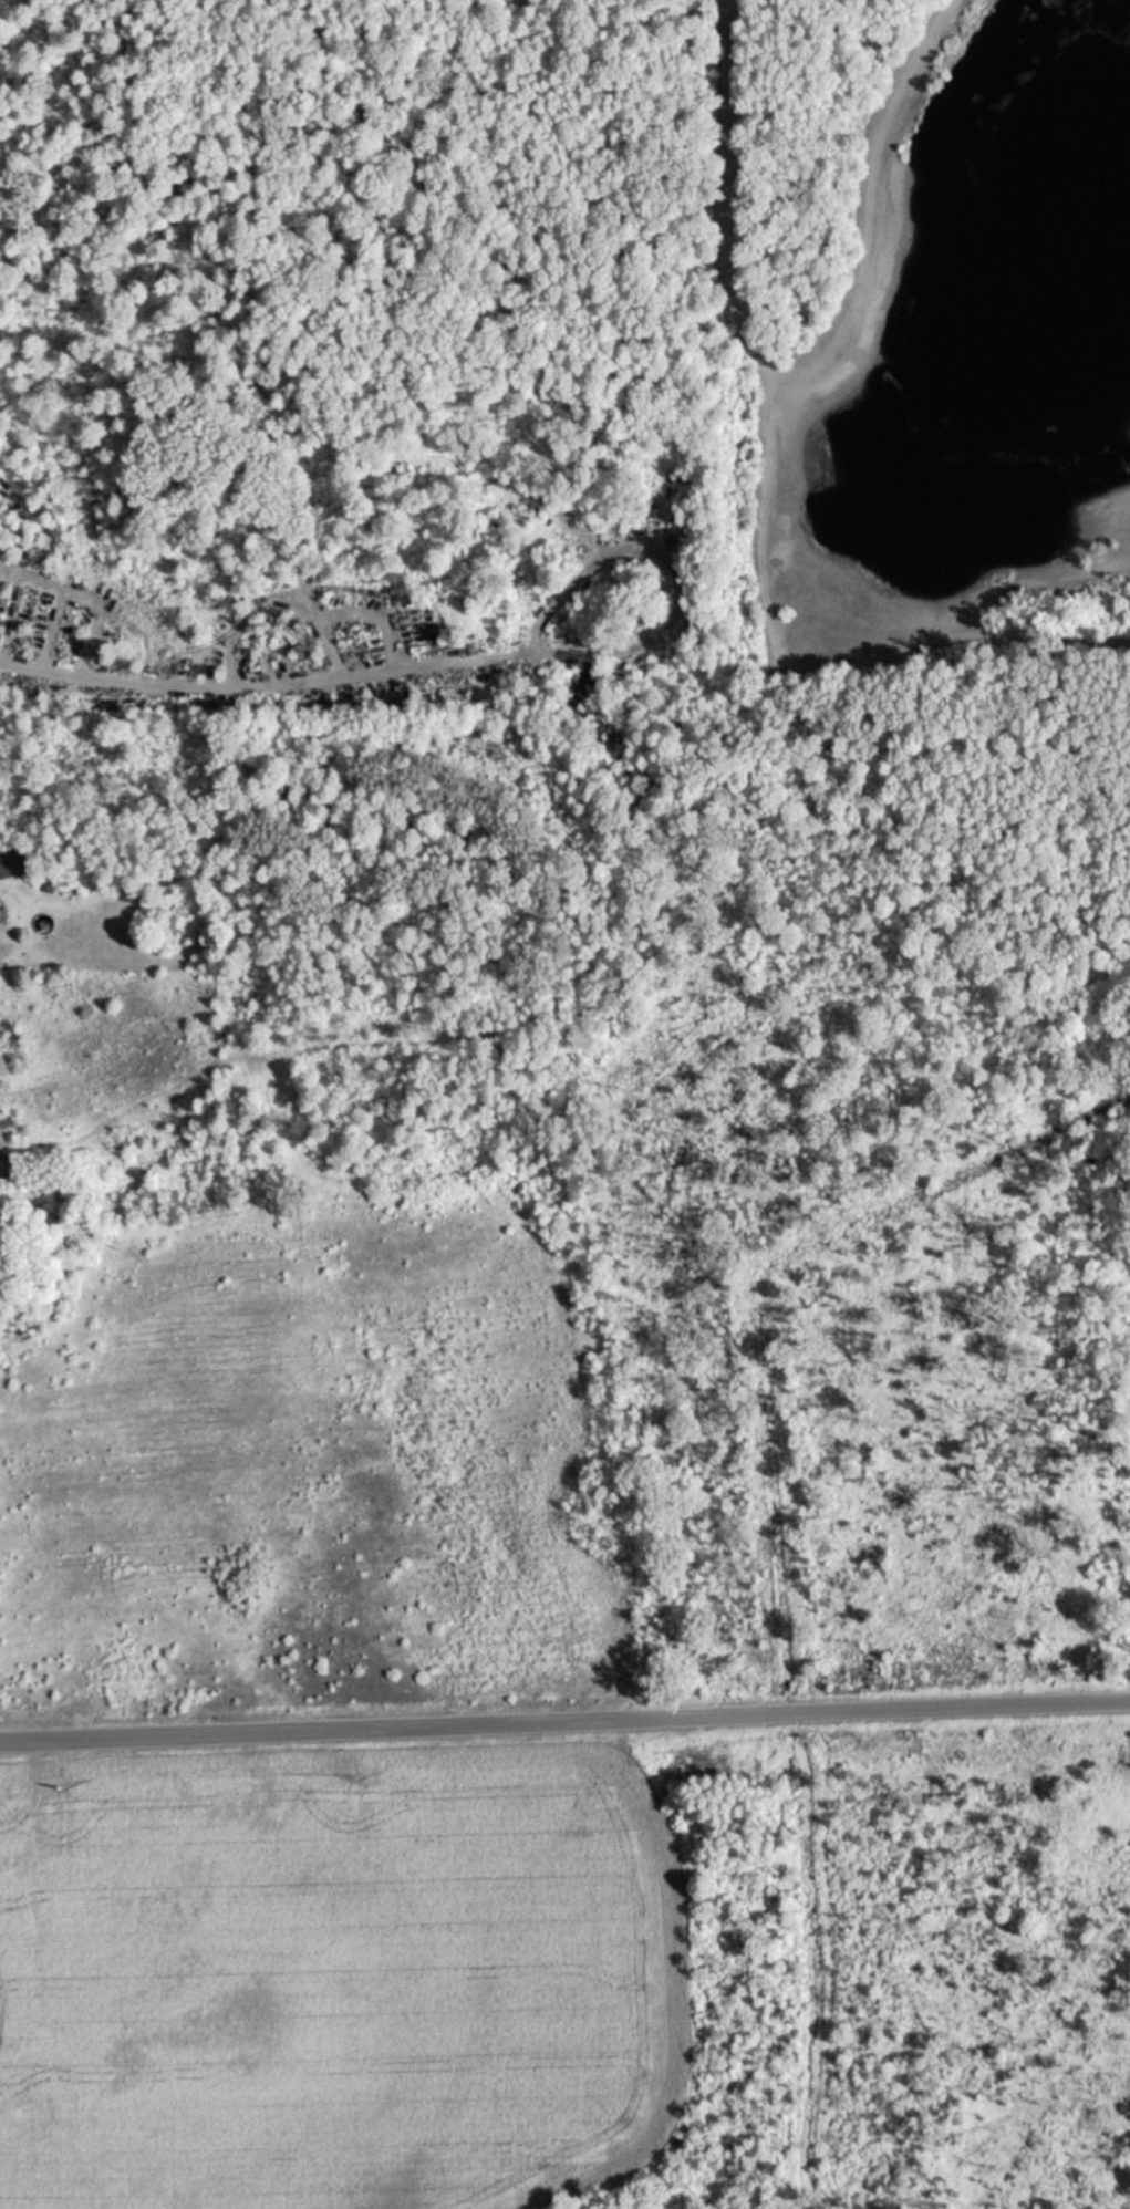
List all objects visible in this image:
building: (473, 686)
building: (11, 860)
building: (42, 923)
road: (564, 1722)

